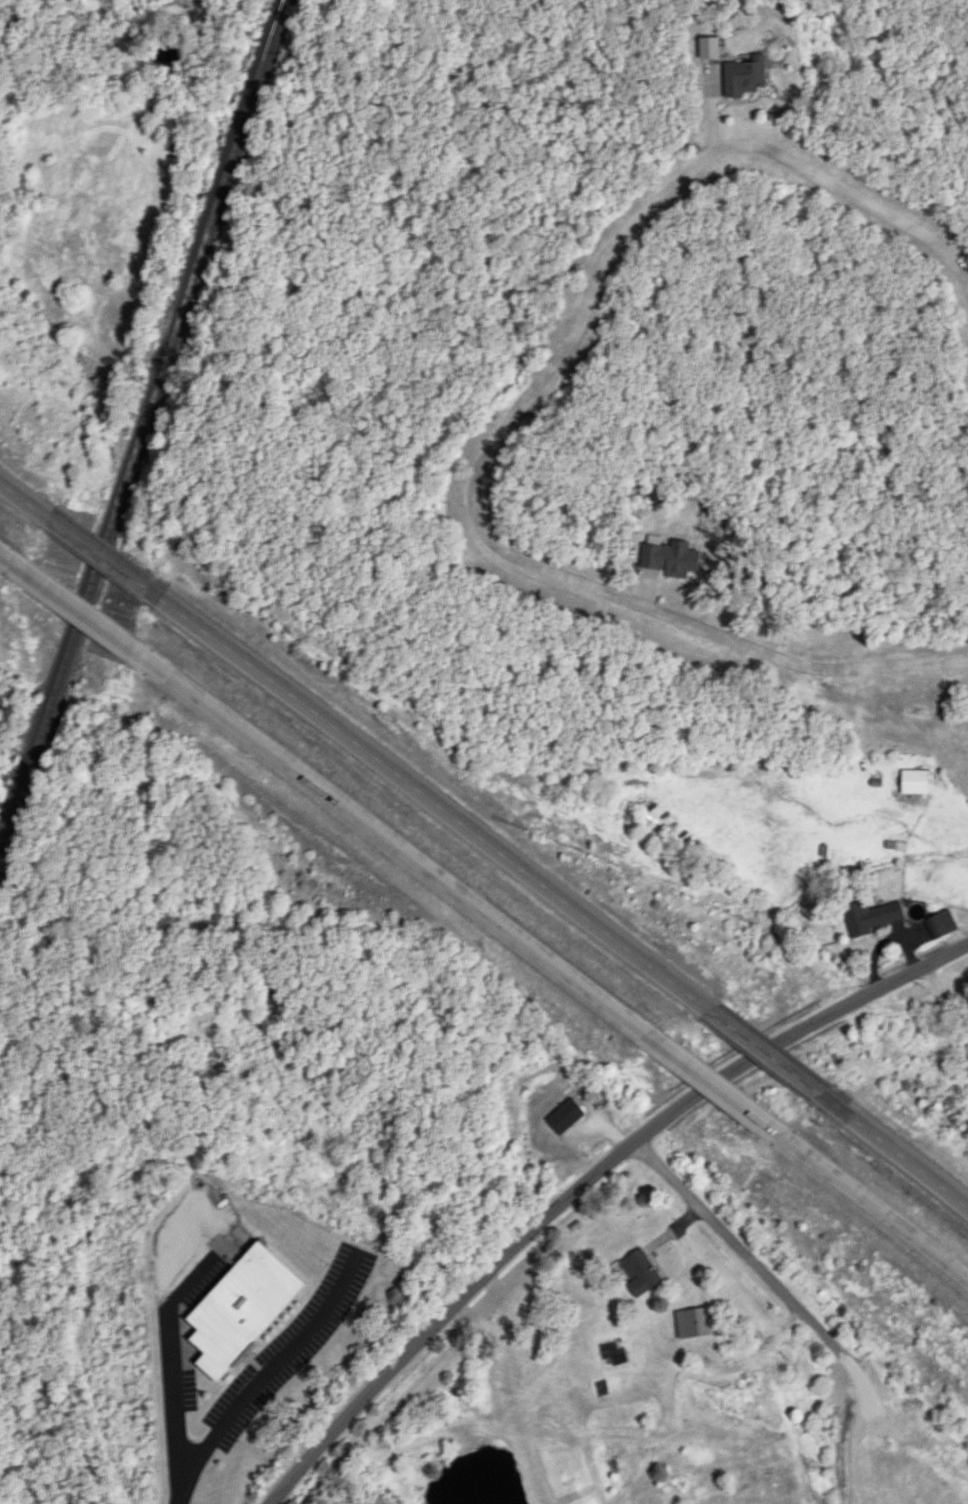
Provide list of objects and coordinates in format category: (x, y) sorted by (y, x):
building: (704, 45)
building: (739, 74)
road: (514, 417)
railway: (149, 427)
road: (9, 499)
building: (668, 556)
road: (94, 557)
road: (72, 617)
building: (913, 781)
road: (428, 803)
road: (954, 810)
road: (401, 851)
building: (869, 916)
building: (941, 921)
road: (945, 988)
road: (879, 989)
road: (762, 1056)
road: (738, 1067)
road: (724, 1100)
building: (563, 1115)
road: (903, 1167)
road: (882, 1222)
road: (756, 1260)
building: (639, 1272)
road: (467, 1292)
building: (238, 1307)
building: (693, 1321)
road: (160, 1358)
road: (248, 1377)
road: (515, 1382)
road: (16, 1452)

